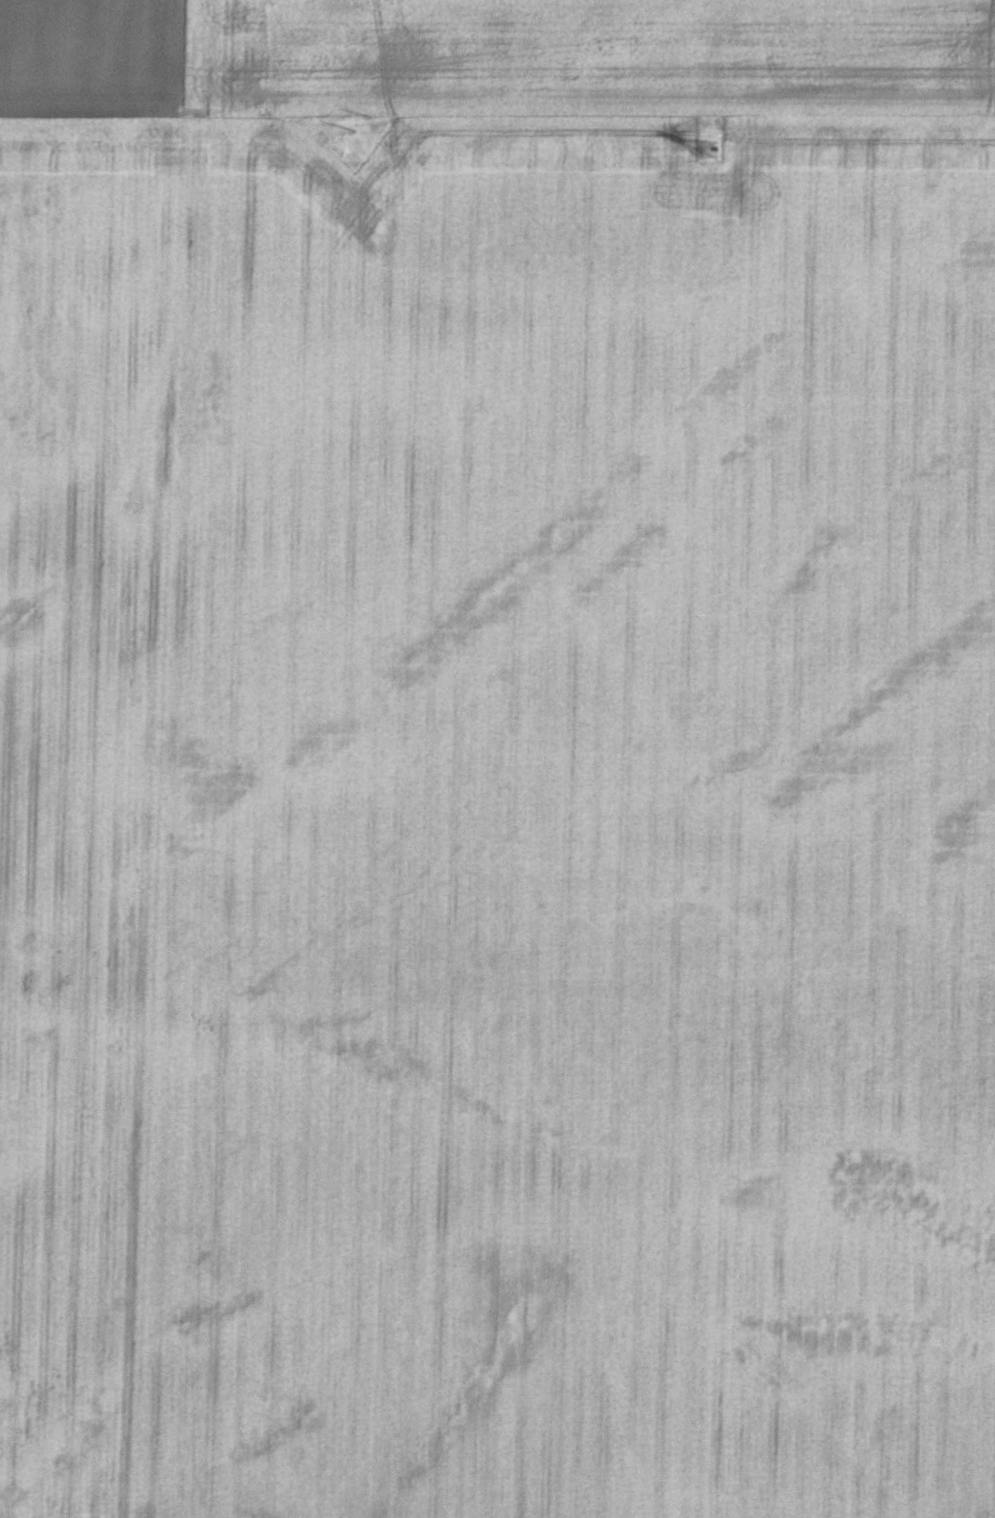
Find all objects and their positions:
power tower: (360, 126)
road: (74, 149)
power tower: (706, 150)

